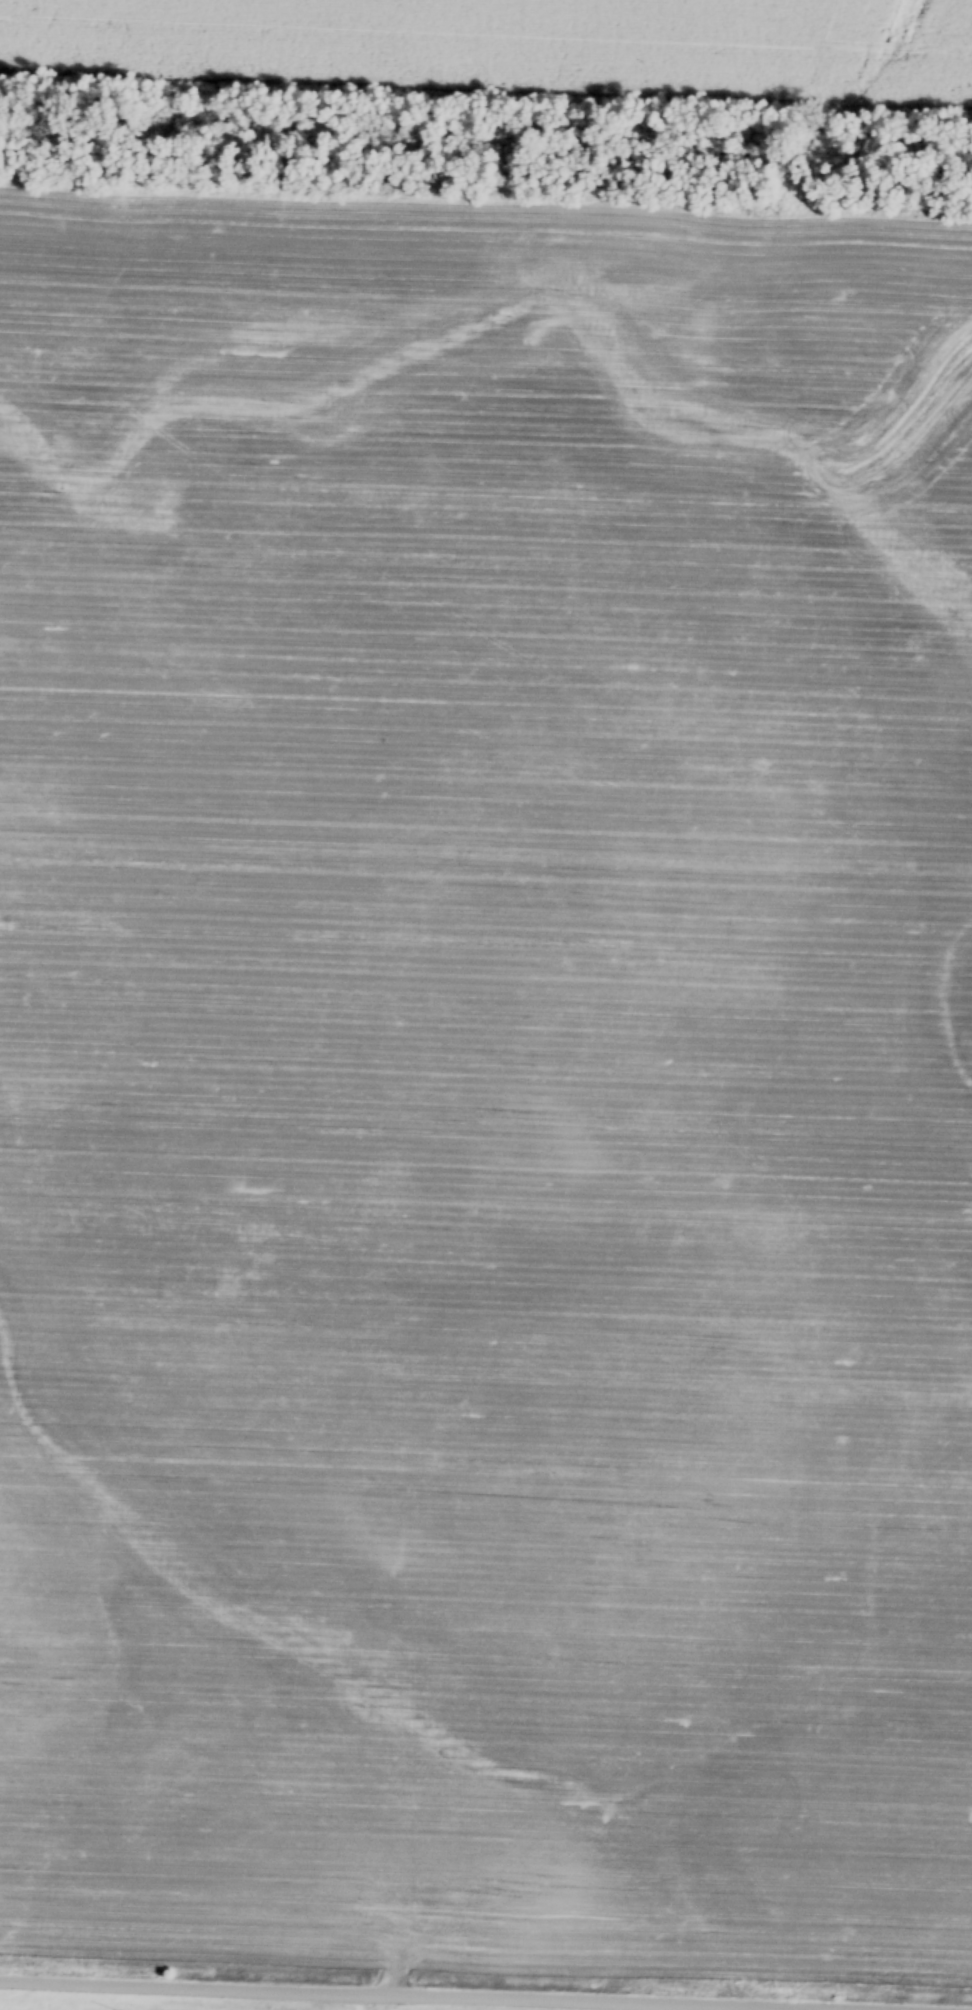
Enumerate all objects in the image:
road: (426, 1995)

